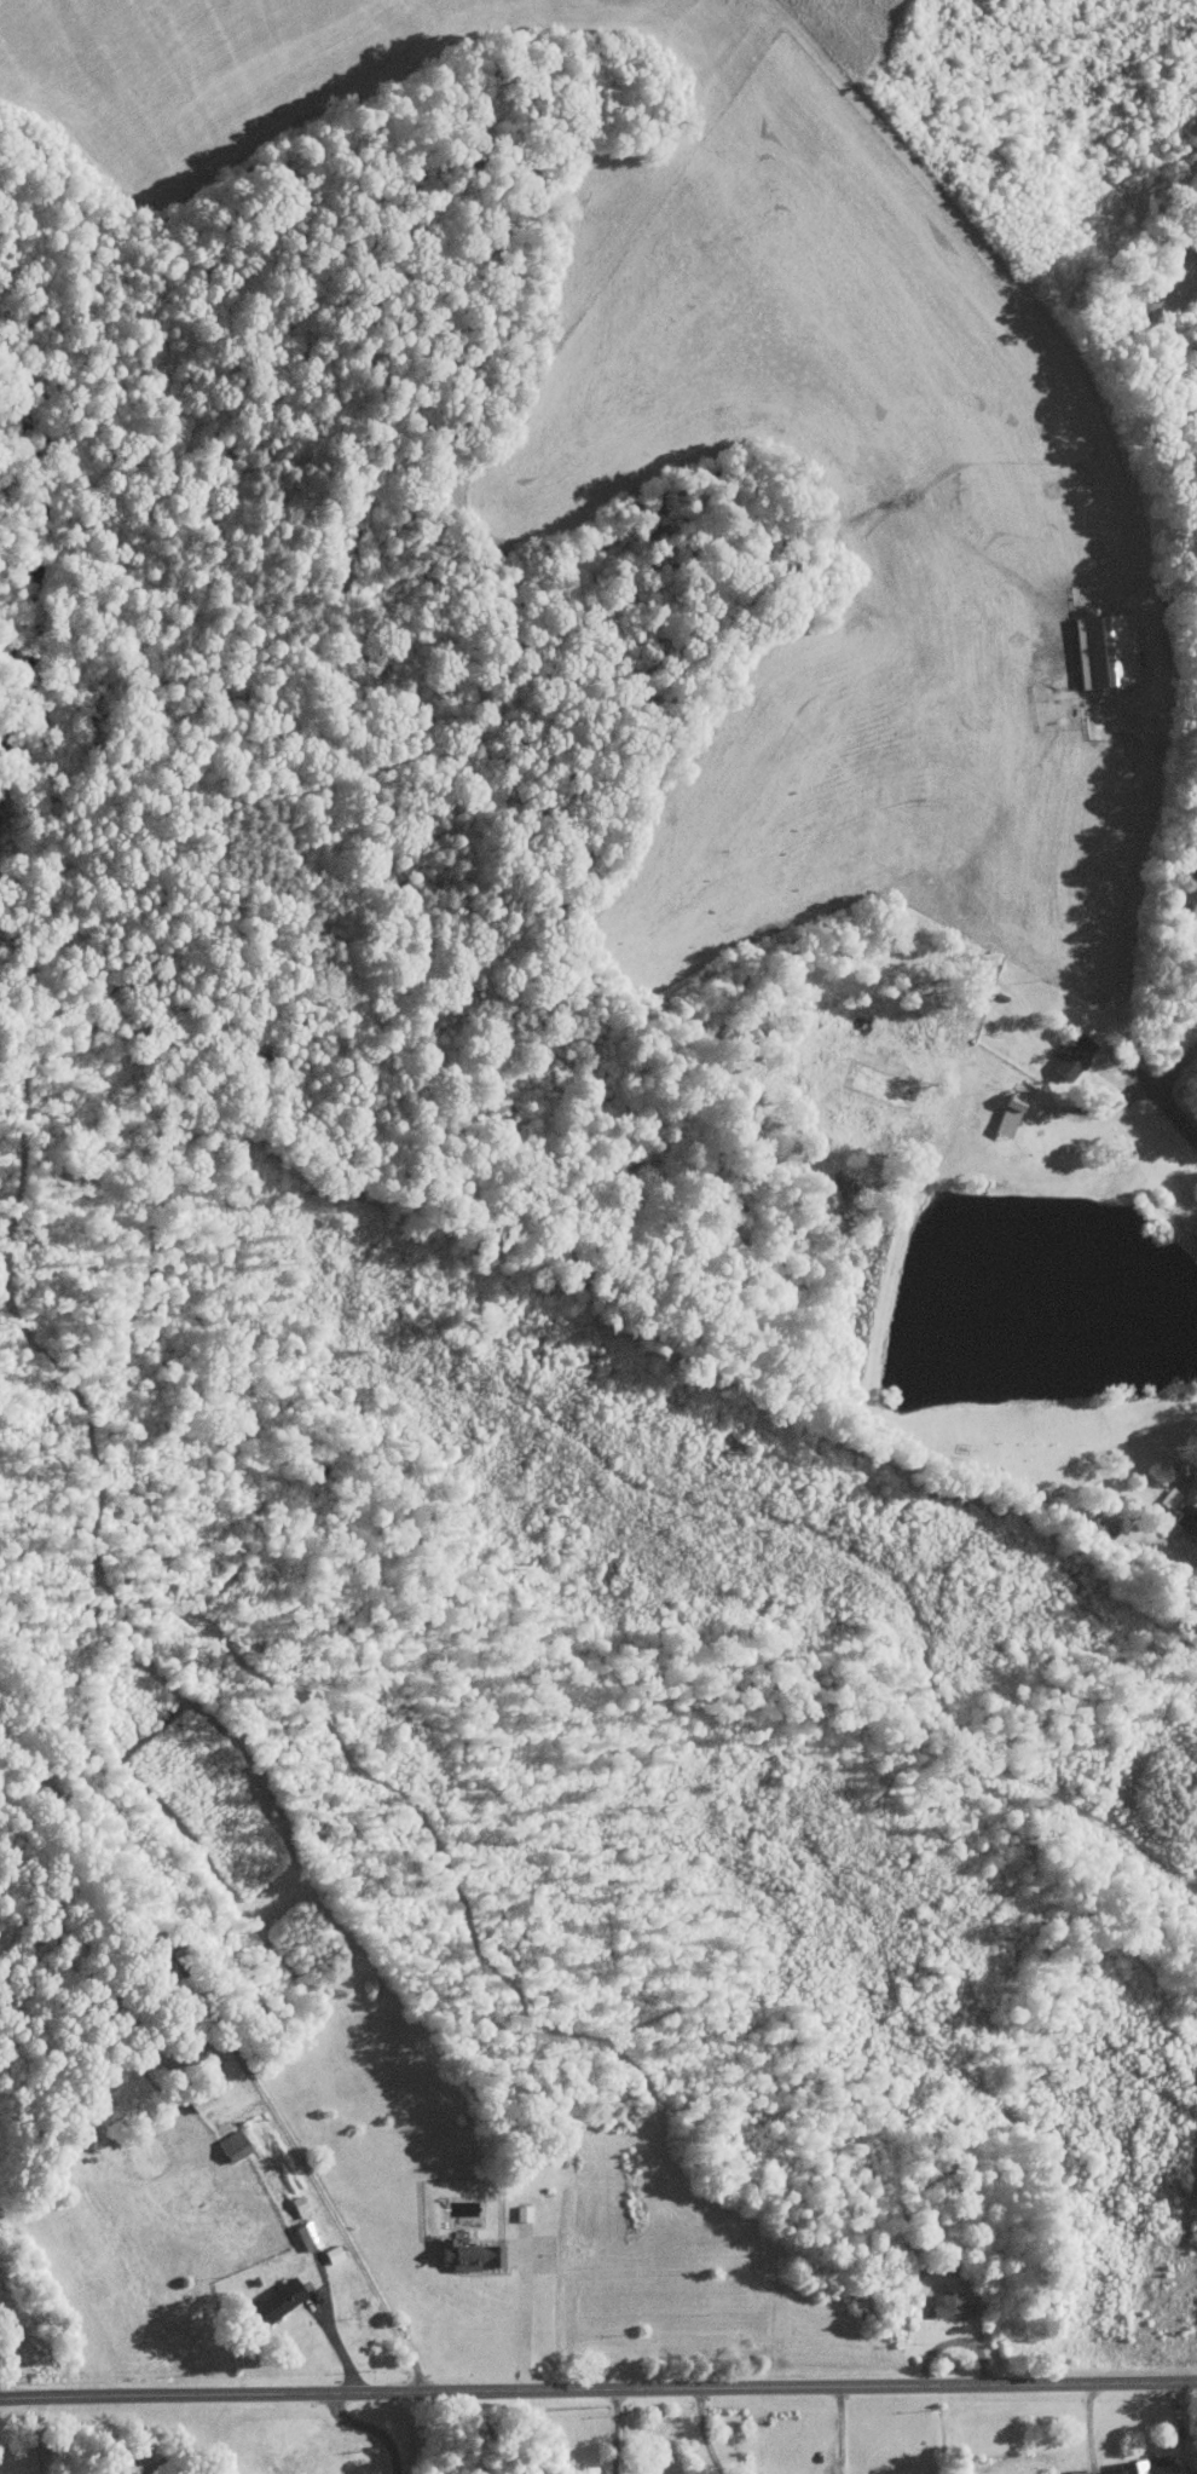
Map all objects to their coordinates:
road: (1134, 878)
building: (1189, 922)
building: (1071, 1055)
road: (1173, 1068)
building: (1007, 1115)
road: (1173, 1115)
road: (1191, 1471)
building: (1184, 1523)
building: (231, 2147)
road: (318, 2188)
building: (464, 2256)
building: (272, 2302)
building: (946, 2306)
road: (524, 2323)
road: (334, 2336)
road: (597, 2392)
road: (374, 2428)
road: (1089, 2428)
road: (615, 2432)
road: (705, 2433)
building: (1146, 2467)

